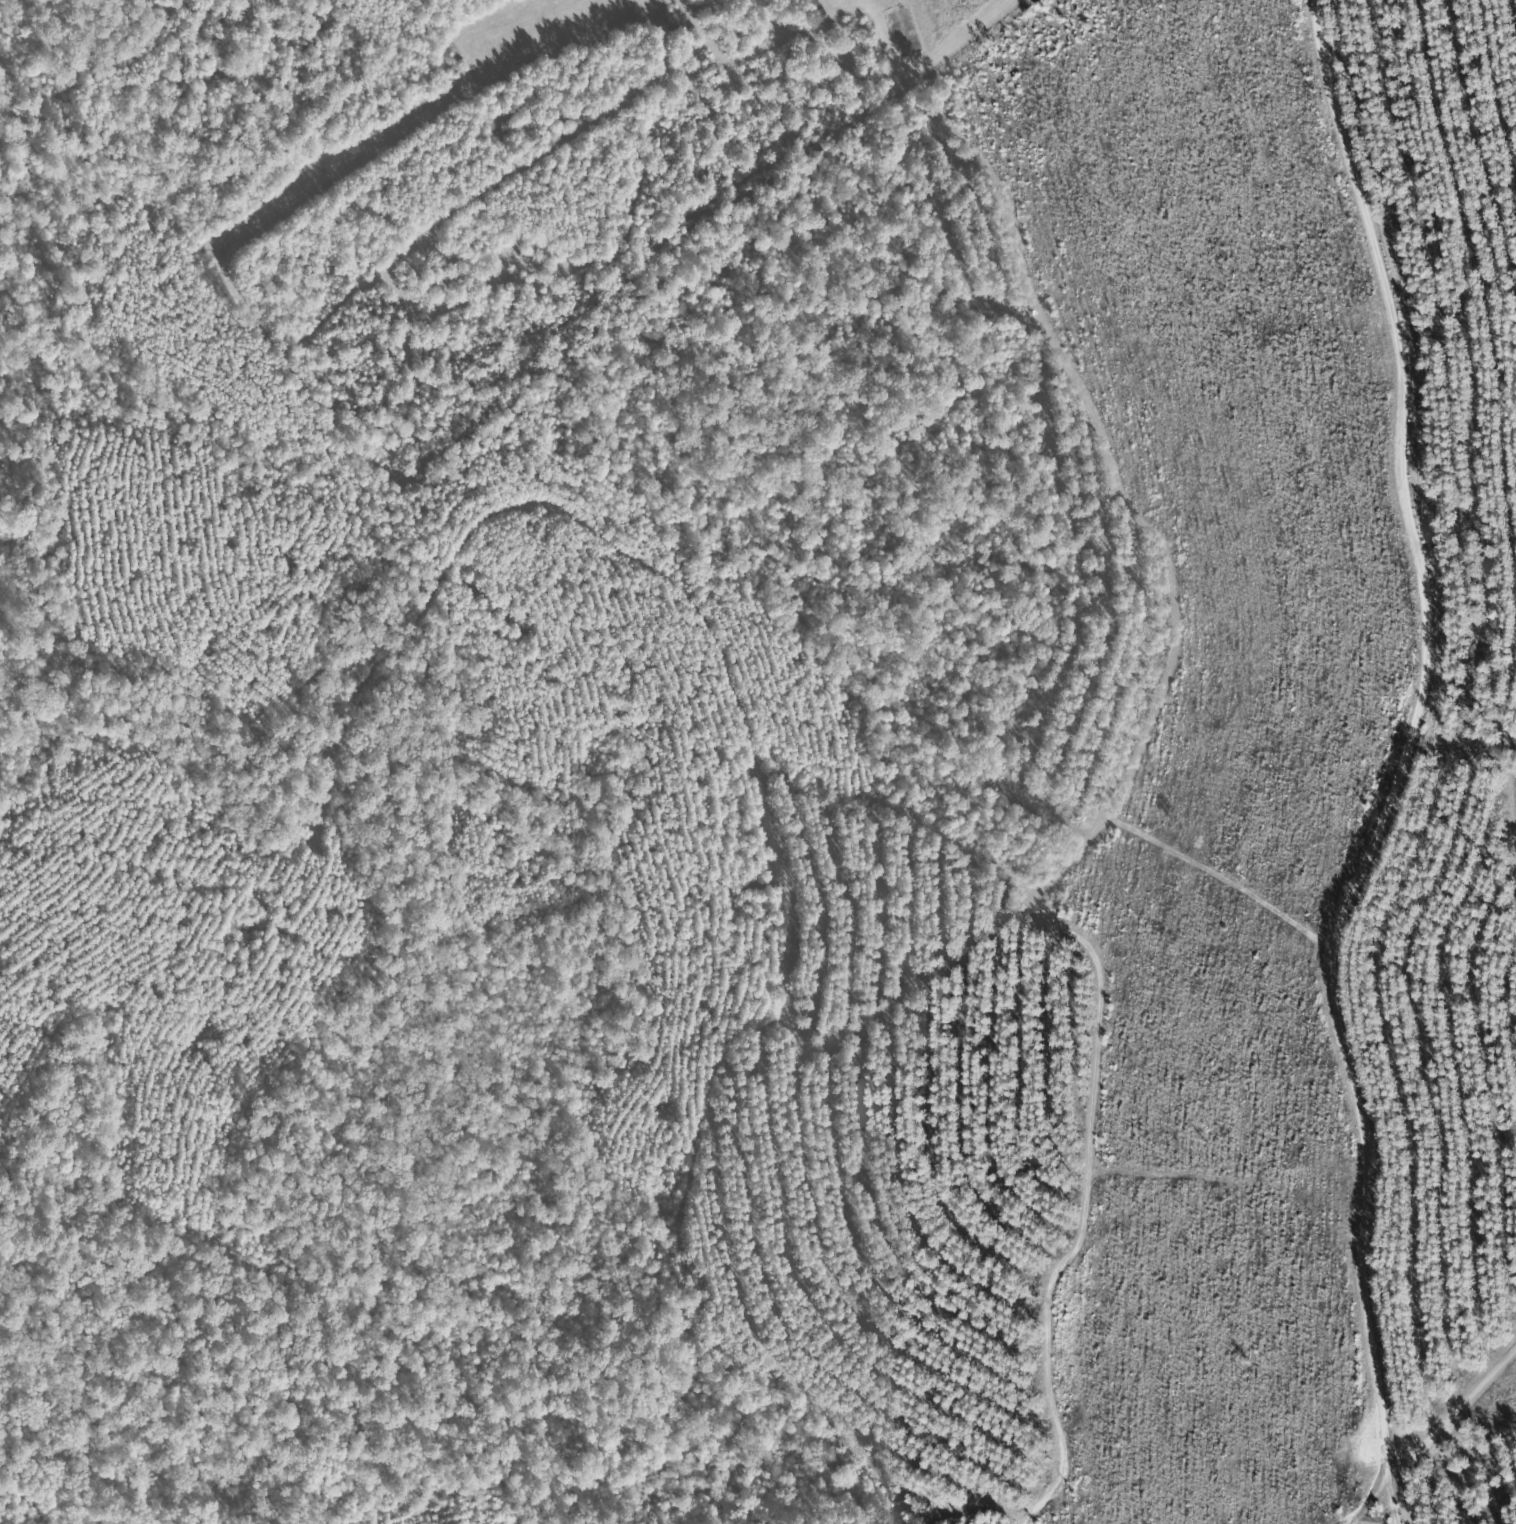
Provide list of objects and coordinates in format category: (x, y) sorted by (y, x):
building: (903, 30)
road: (1377, 767)
road: (1434, 1419)

